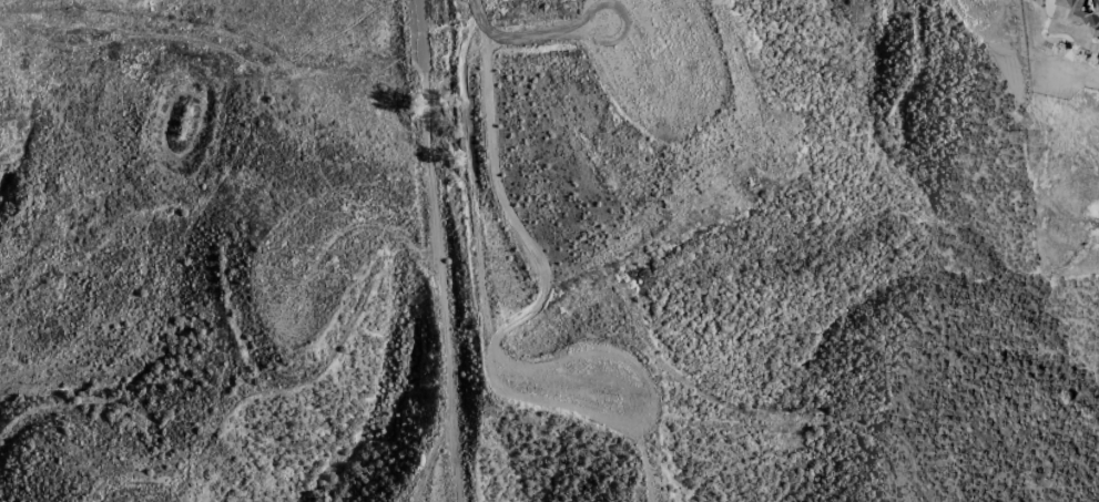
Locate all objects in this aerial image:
road: (440, 250)

